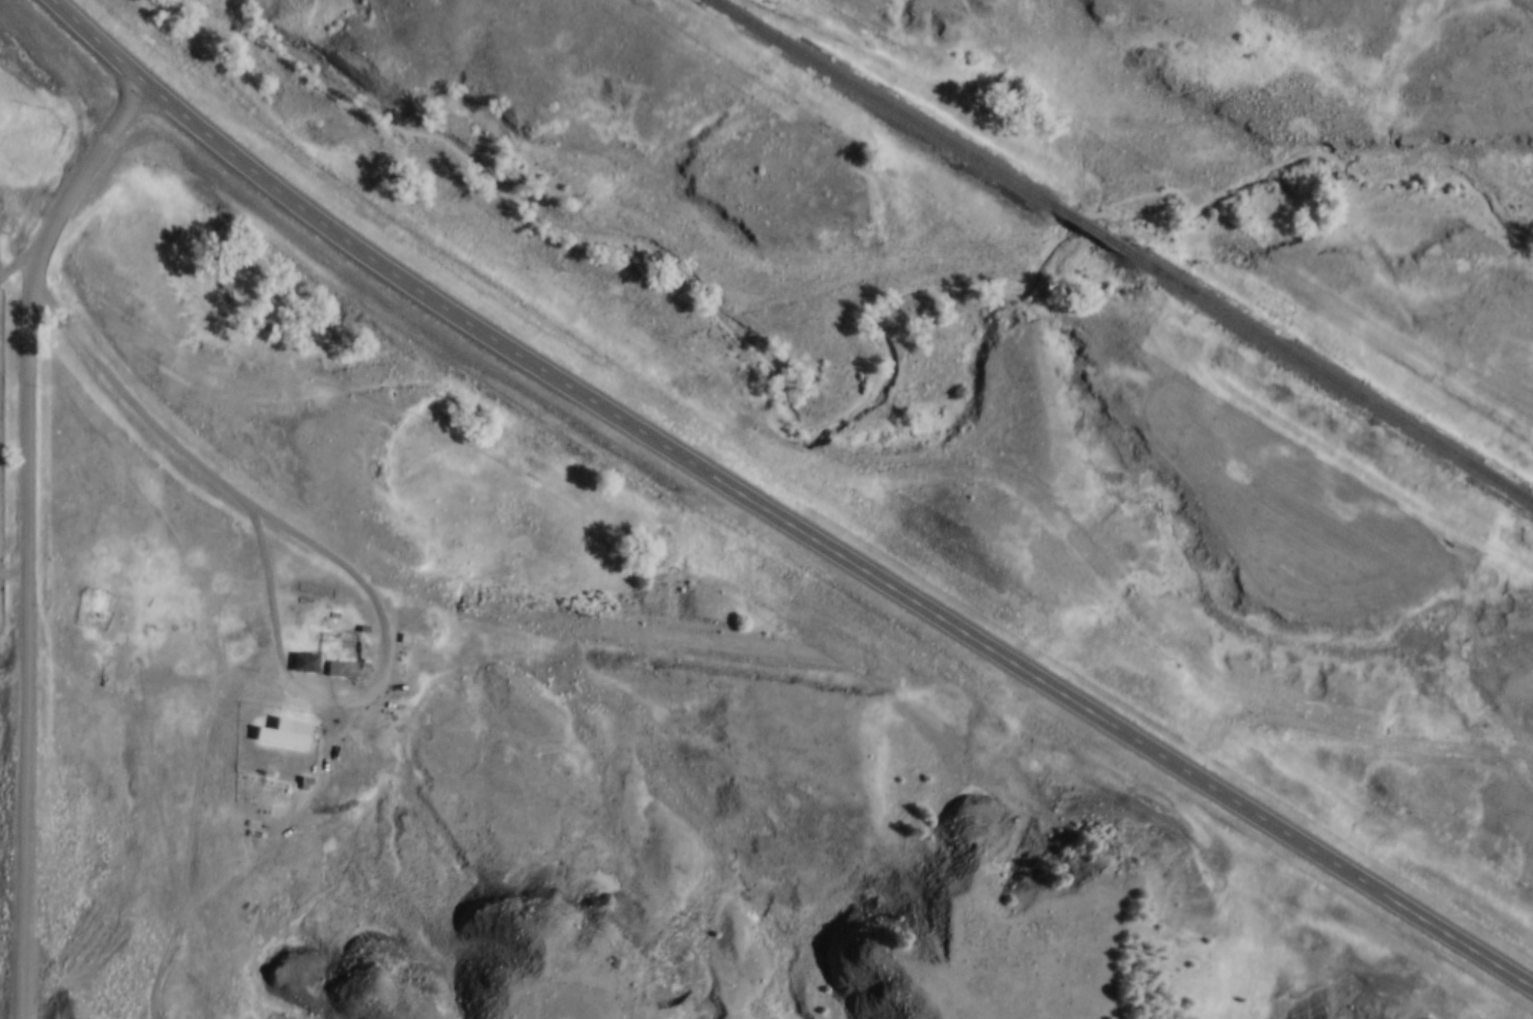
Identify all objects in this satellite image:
railway: (889, 107)
railway: (1098, 235)
road: (22, 259)
railway: (1333, 379)
road: (780, 514)
road: (28, 534)
road: (329, 554)
road: (14, 570)
building: (357, 616)
building: (397, 625)
building: (299, 649)
building: (342, 654)
building: (307, 664)
building: (344, 670)
building: (281, 719)
road: (1351, 734)
building: (282, 738)
building: (304, 766)
road: (197, 818)

